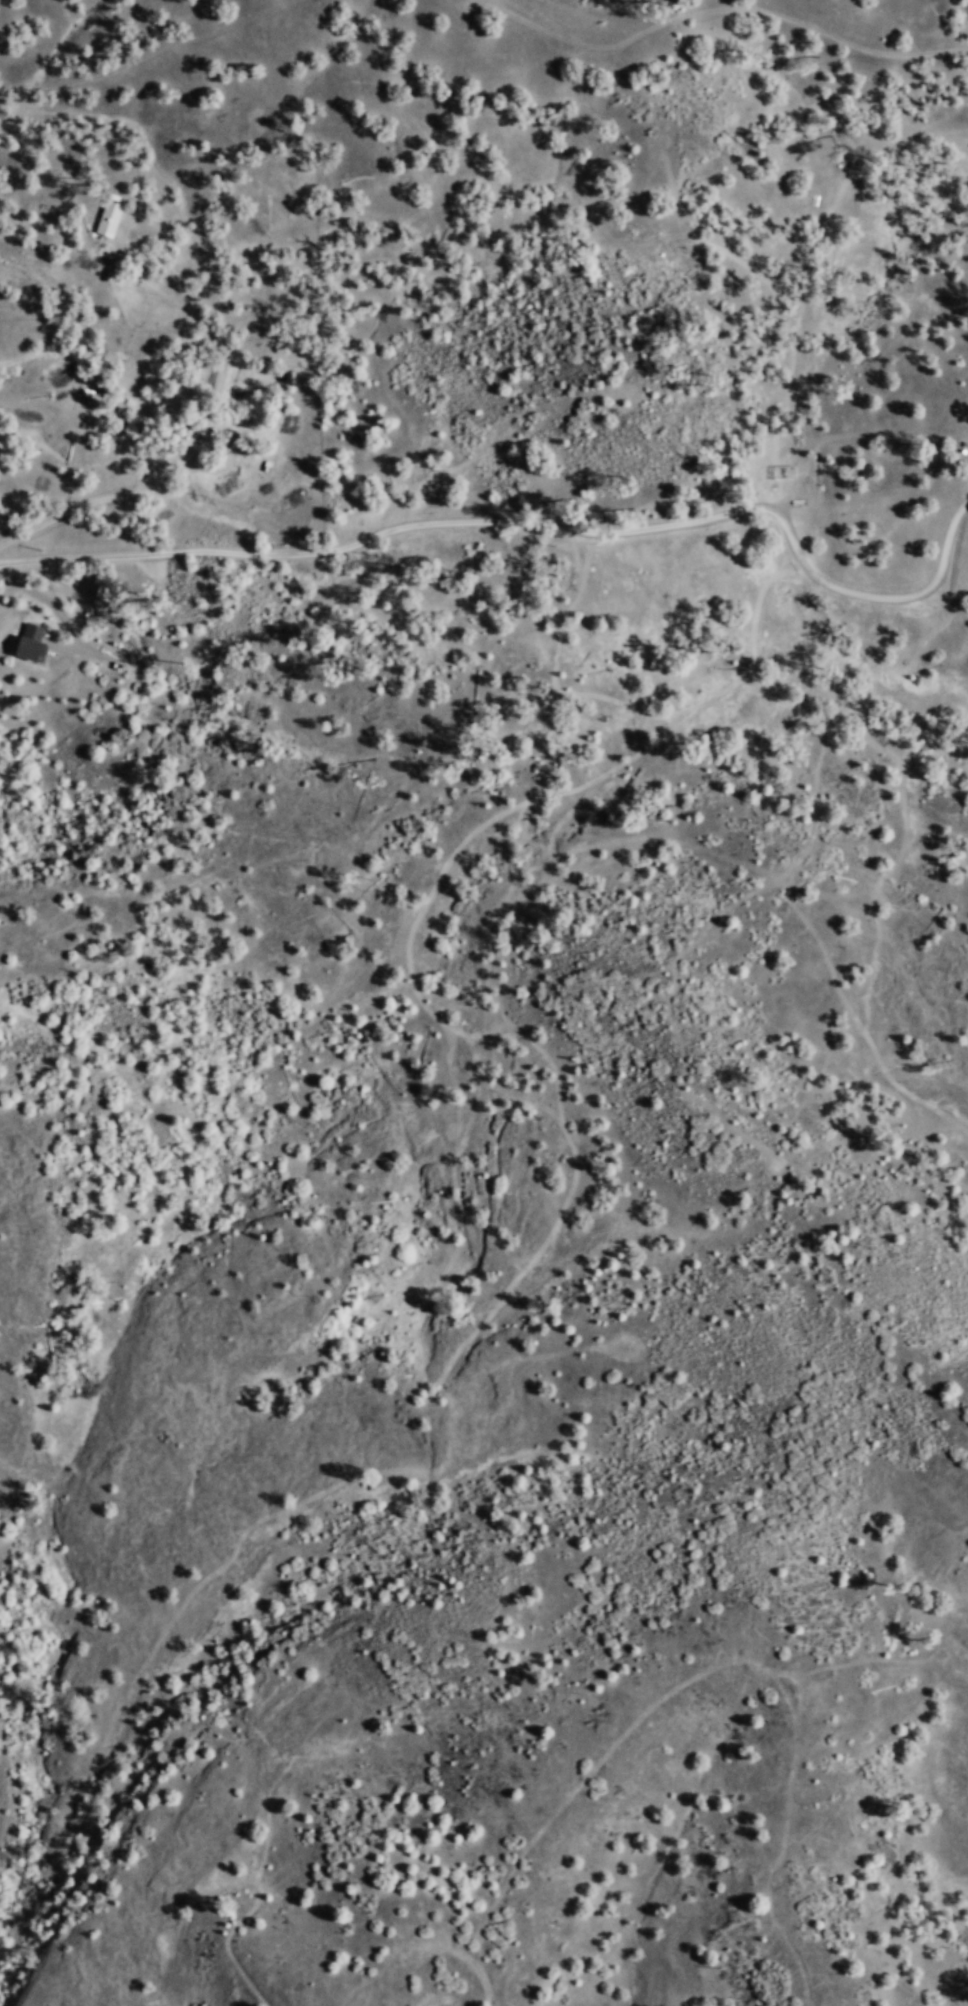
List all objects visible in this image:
road: (714, 10)
road: (144, 53)
building: (110, 217)
road: (538, 521)

